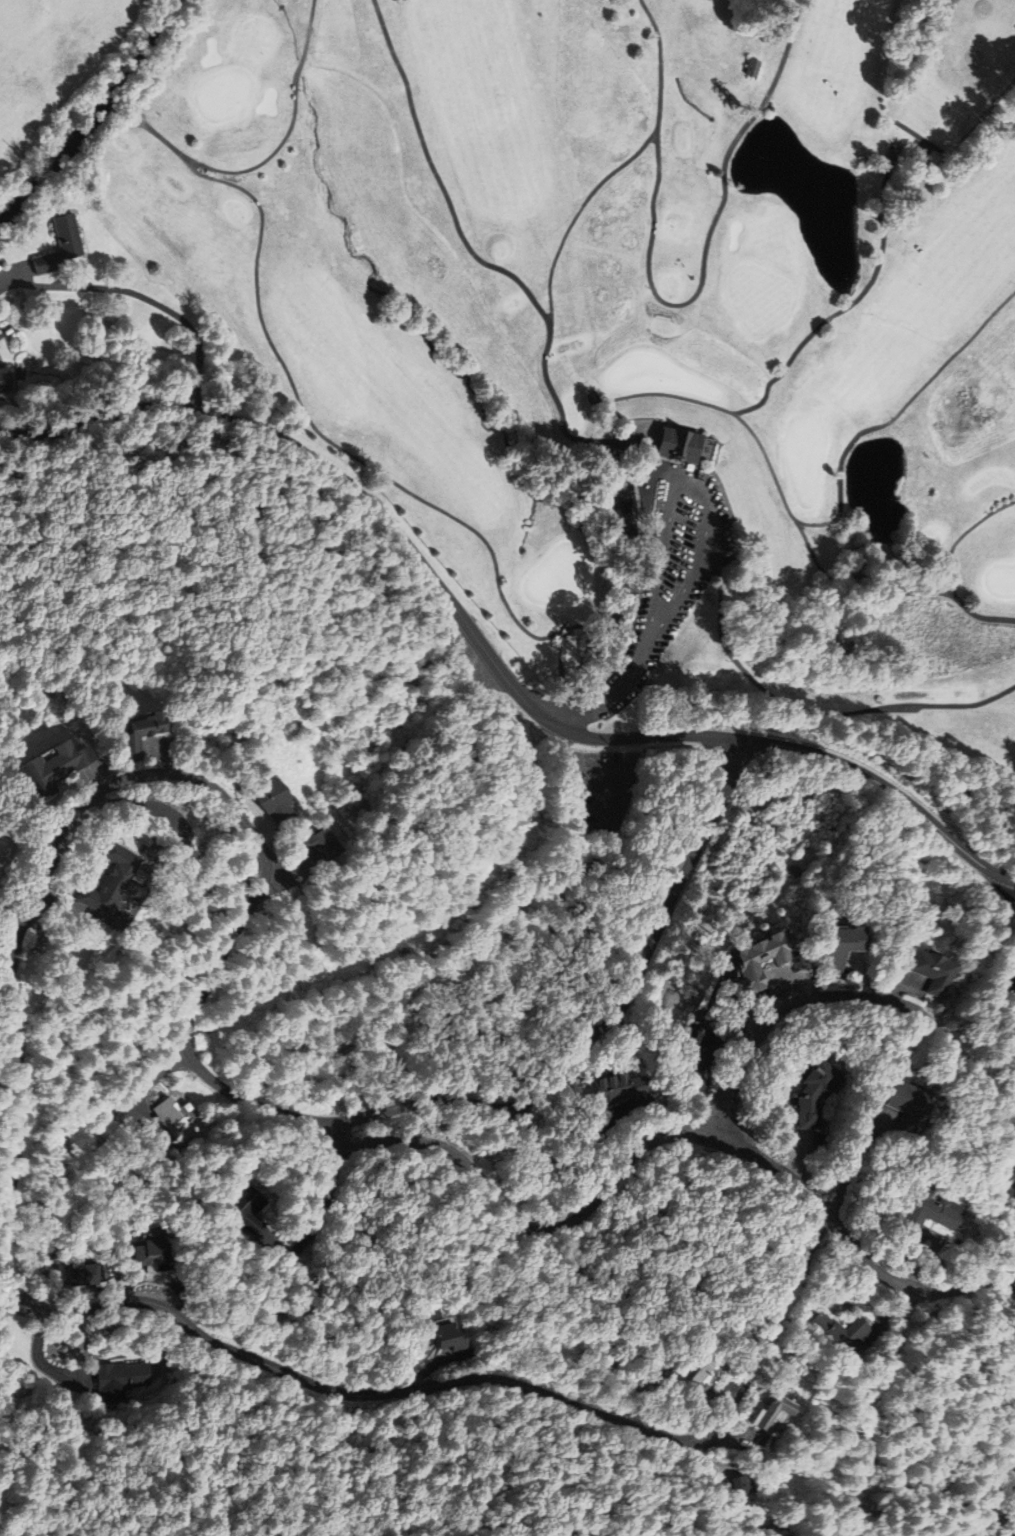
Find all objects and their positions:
building: (752, 67)
road: (273, 152)
road: (458, 224)
road: (577, 228)
building: (61, 246)
road: (142, 296)
road: (685, 305)
road: (850, 305)
park: (638, 340)
building: (6, 380)
building: (677, 445)
road: (371, 465)
road: (694, 485)
road: (786, 499)
building: (623, 517)
road: (950, 569)
road: (492, 657)
road: (610, 696)
road: (814, 713)
building: (141, 732)
building: (53, 768)
building: (277, 801)
road: (63, 834)
building: (316, 847)
building: (5, 851)
building: (115, 882)
road: (1003, 883)
building: (843, 945)
road: (6, 948)
building: (764, 958)
building: (930, 972)
building: (704, 1051)
building: (620, 1088)
building: (813, 1093)
building: (905, 1105)
road: (1002, 1124)
building: (245, 1211)
building: (935, 1213)
road: (550, 1232)
building: (148, 1253)
road: (787, 1297)
building: (836, 1334)
building: (448, 1336)
building: (119, 1376)
building: (702, 1377)
building: (768, 1415)
building: (757, 1442)
road: (1008, 1465)
building: (734, 1487)

